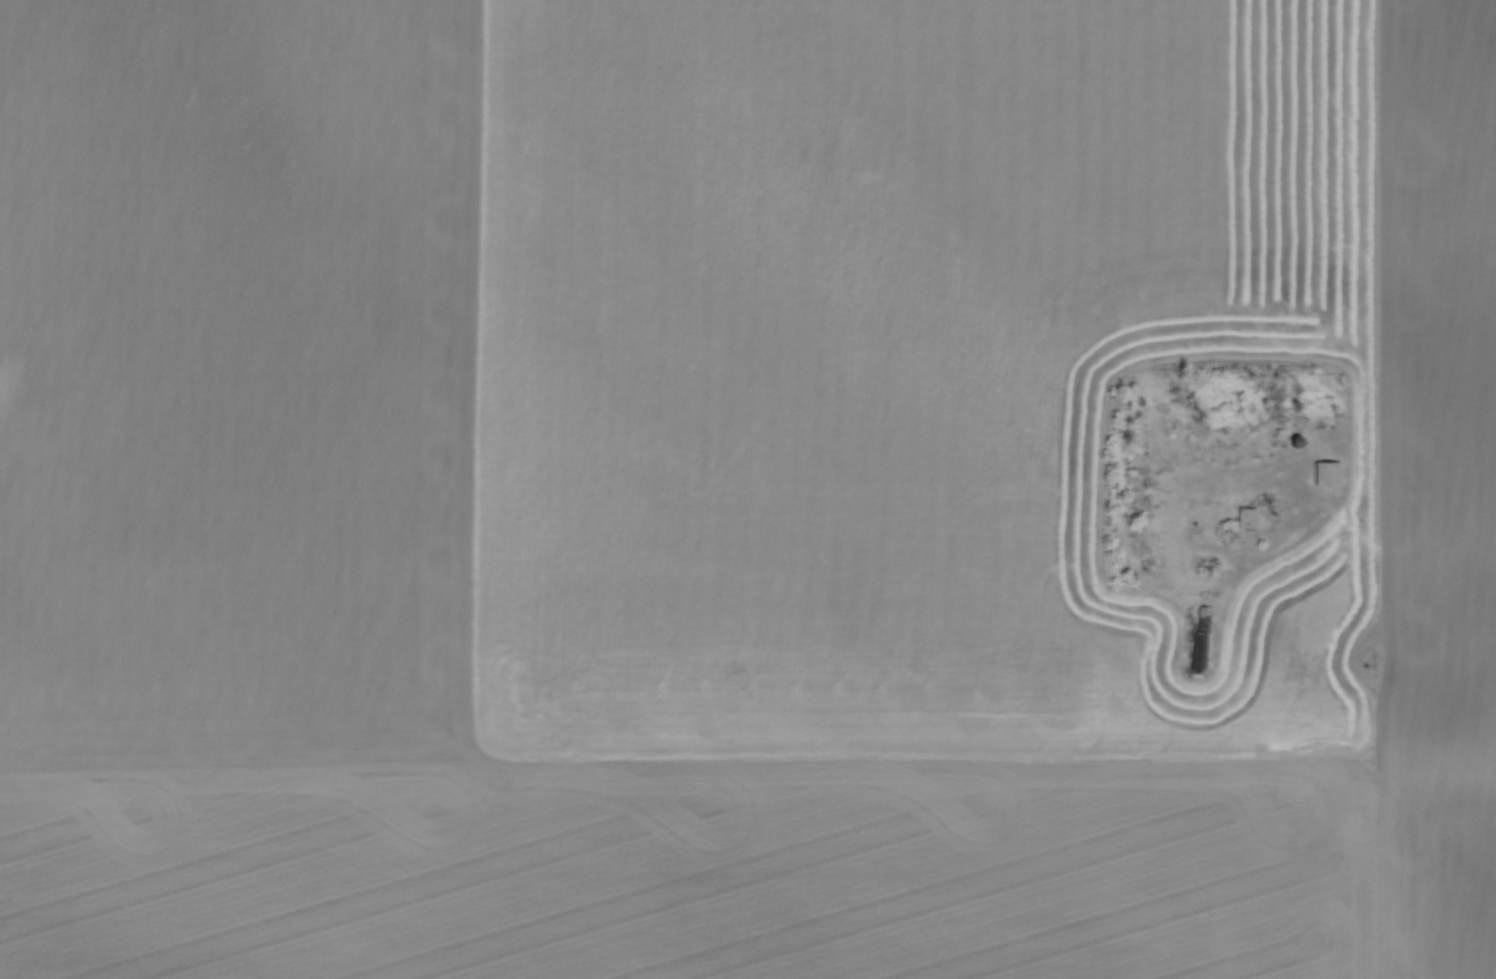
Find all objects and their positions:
road: (1370, 226)
building: (1294, 441)
building: (1327, 472)
crop: (748, 489)
building: (1247, 517)
building: (1202, 638)

